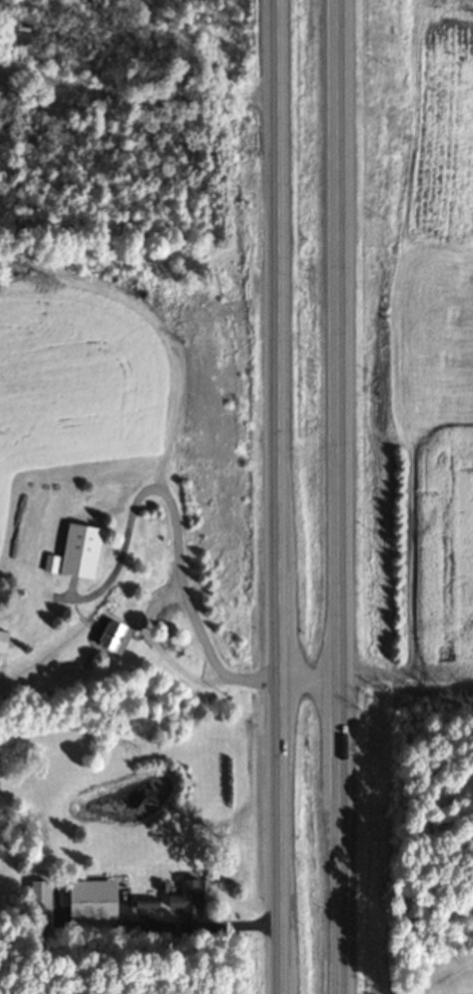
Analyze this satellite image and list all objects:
road: (279, 496)
road: (339, 496)
building: (77, 551)
building: (109, 637)
building: (2, 640)
building: (37, 894)
building: (89, 899)
building: (185, 899)
building: (203, 928)

